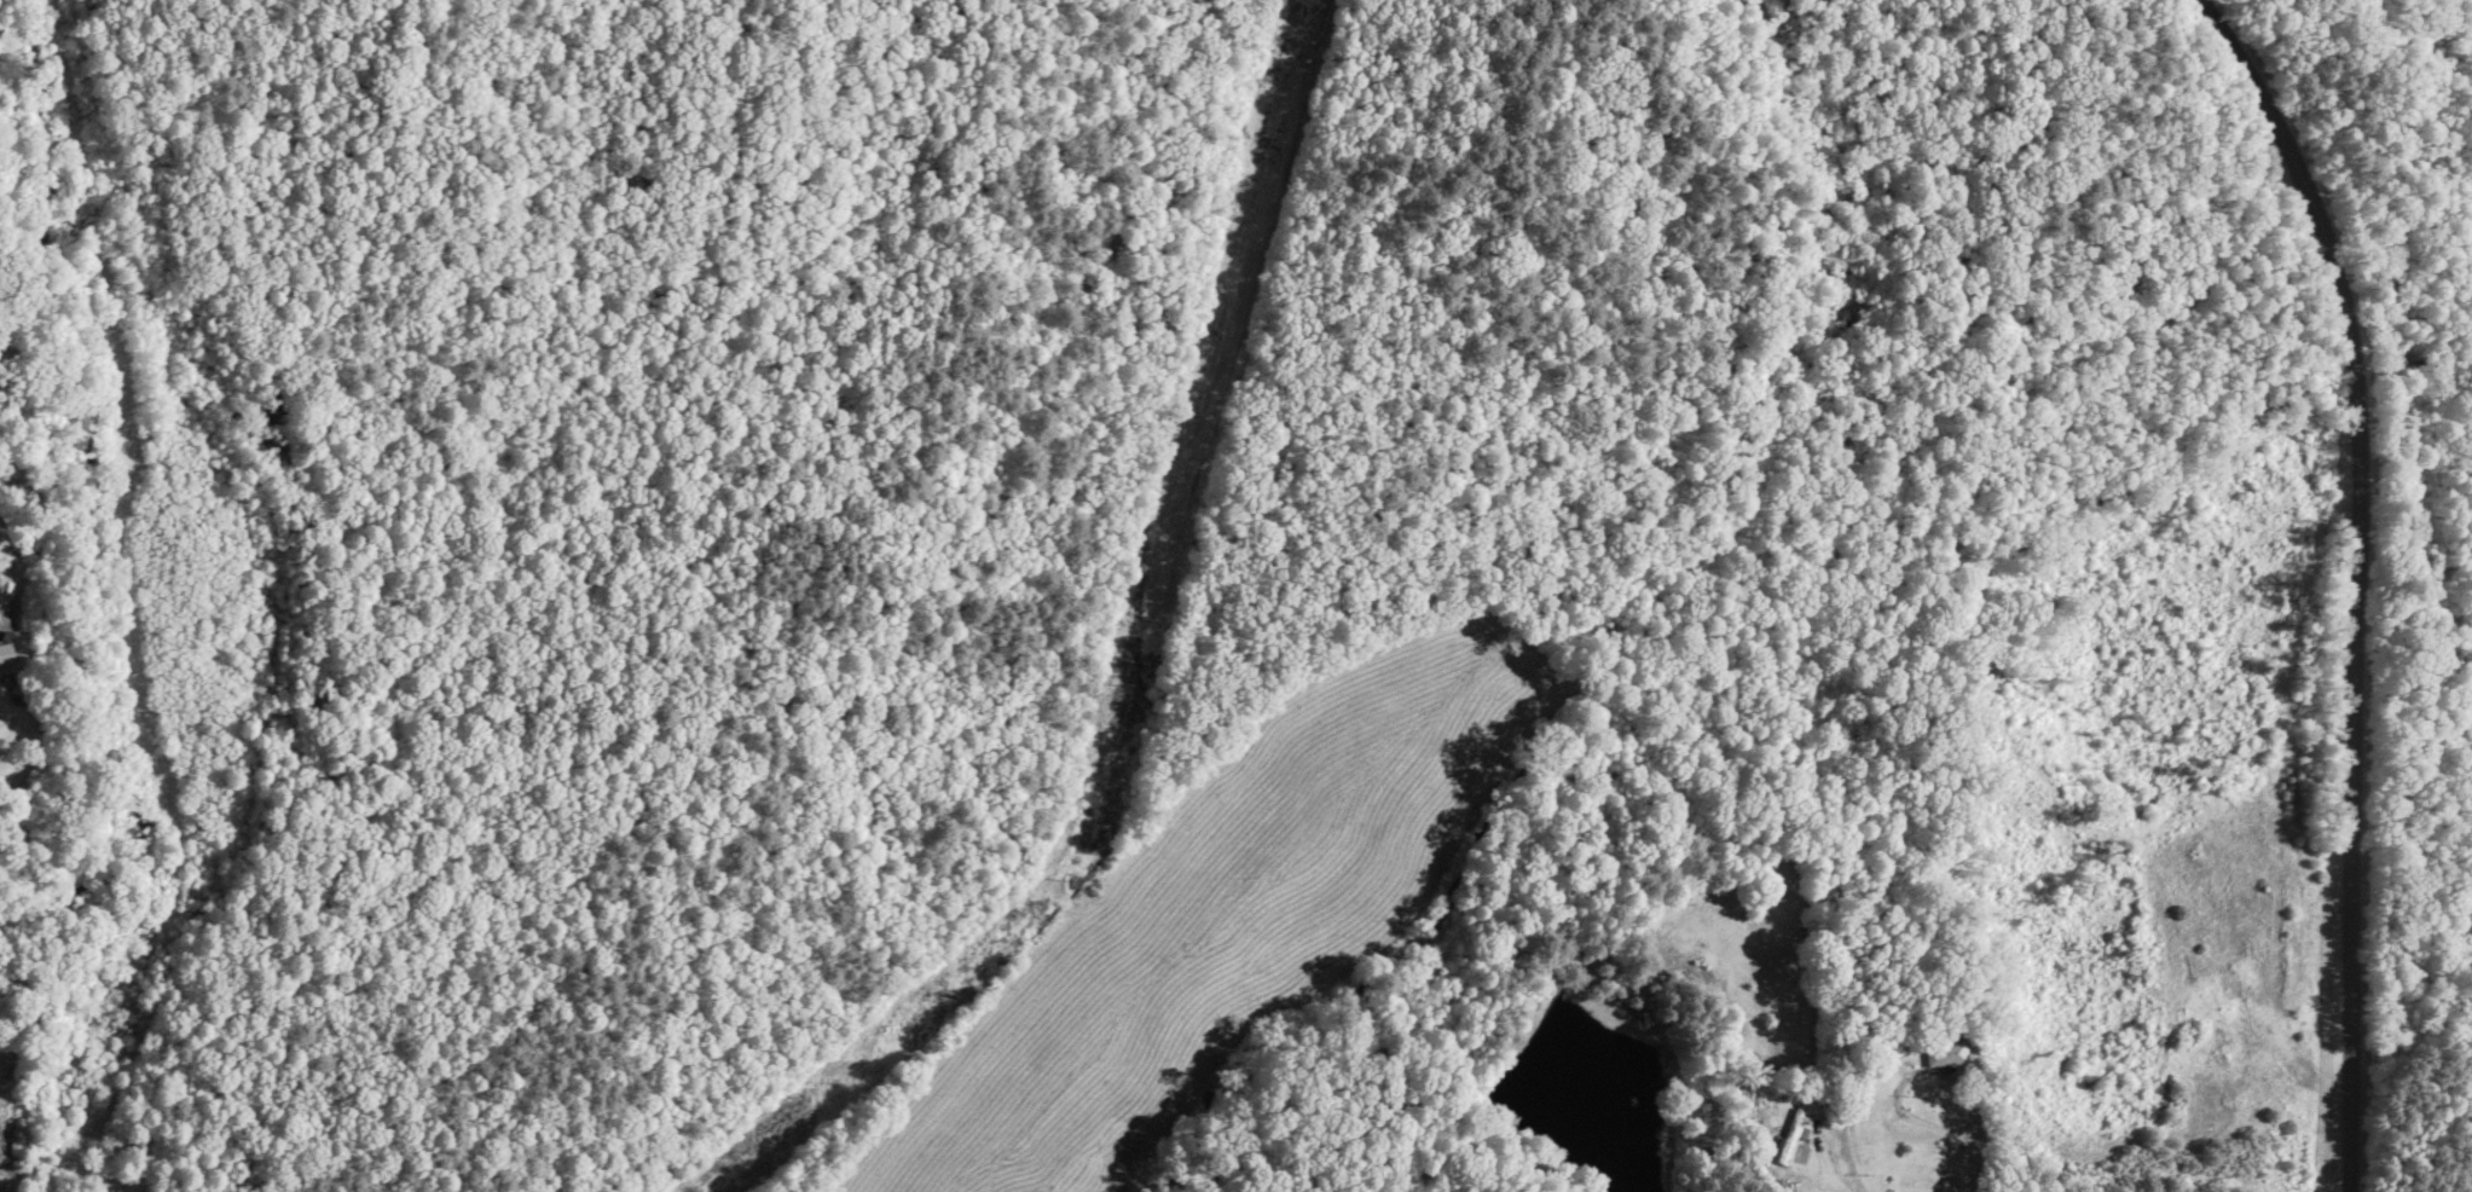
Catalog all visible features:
road: (2332, 579)
building: (5, 653)
building: (1941, 1055)
road: (1760, 1092)
building: (1788, 1135)
road: (1372, 1155)

